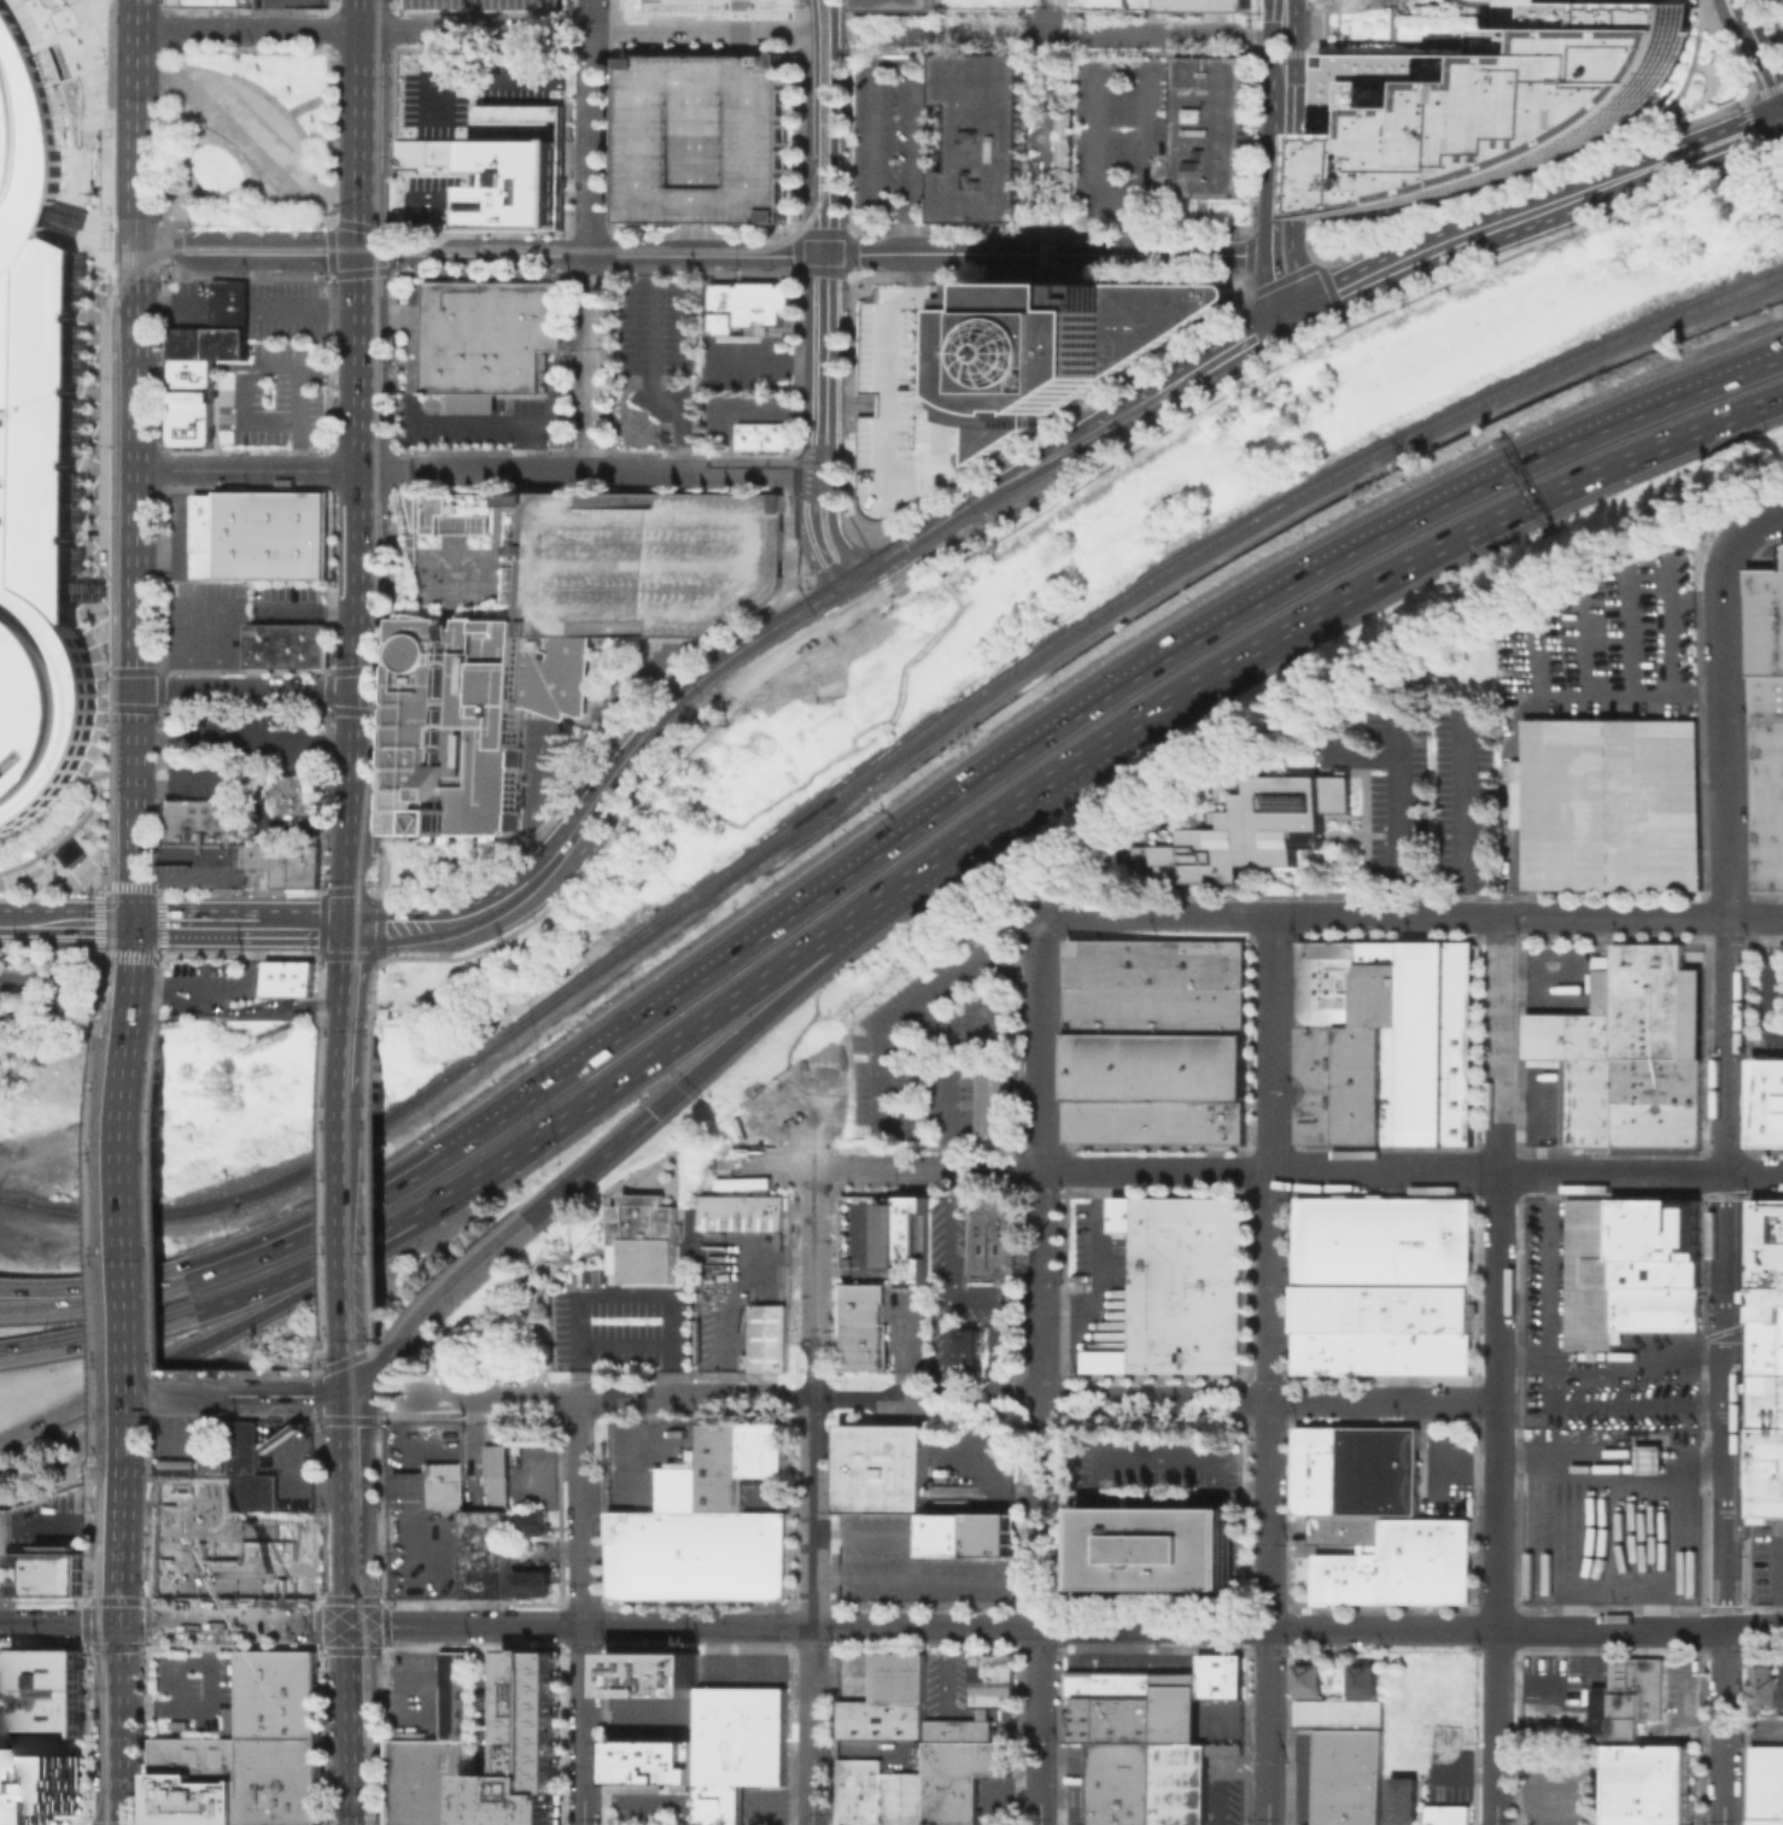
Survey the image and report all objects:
building: (214, 2)
parking lot: (291, 2)
parking lot: (479, 2)
building: (1106, 4)
building: (1351, 4)
building: (1474, 4)
road: (393, 6)
building: (895, 6)
park: (1051, 6)
building: (1209, 7)
building: (708, 8)
road: (88, 12)
building: (1515, 12)
road: (269, 14)
road: (828, 16)
road: (23, 19)
road: (393, 22)
road: (164, 28)
road: (363, 30)
road: (709, 31)
road: (1056, 33)
road: (331, 40)
road: (353, 49)
road: (1761, 49)
road: (884, 64)
road: (1098, 65)
road: (168, 87)
parking lot: (472, 88)
road: (1284, 94)
road: (328, 100)
building: (1487, 103)
road: (136, 127)
road: (1047, 127)
building: (1210, 133)
park: (245, 134)
parking lot: (1121, 134)
road: (164, 135)
road: (331, 136)
building: (703, 136)
parking lot: (703, 136)
building: (1062, 138)
parking lot: (895, 140)
building: (981, 140)
road: (246, 141)
fountain: (1036, 141)
road: (829, 144)
building: (505, 163)
road: (328, 197)
parking lot: (433, 197)
road: (1280, 197)
road: (1543, 210)
road: (166, 220)
building: (77, 221)
road: (150, 222)
road: (340, 223)
road: (356, 226)
road: (1146, 226)
road: (1275, 230)
road: (910, 233)
road: (590, 234)
road: (362, 235)
railway: (435, 235)
road: (164, 238)
road: (329, 238)
railway: (201, 248)
road: (1297, 250)
traffic signals: (136, 253)
traffic signals: (362, 255)
road: (481, 255)
road: (1051, 255)
road: (1285, 287)
road: (310, 306)
building: (750, 308)
parking lot: (288, 314)
traffic signals: (1308, 314)
building: (1069, 341)
building: (491, 343)
road: (1251, 343)
parking lot: (656, 361)
road: (766, 361)
road: (153, 362)
road: (192, 362)
building: (205, 362)
road: (244, 362)
parking lot: (746, 362)
road: (653, 369)
road: (329, 372)
road: (1691, 385)
building: (911, 393)
parking lot: (911, 393)
road: (240, 396)
parking lot: (274, 397)
road: (1765, 399)
road: (850, 403)
road: (743, 409)
parking lot: (738, 410)
parking lot: (489, 420)
road: (823, 426)
building: (762, 435)
building: (36, 461)
road: (249, 469)
road: (591, 470)
road: (888, 470)
road: (393, 480)
road: (499, 481)
road: (1025, 482)
road: (111, 489)
road: (397, 491)
building: (429, 511)
railway: (374, 514)
road: (490, 515)
road: (1756, 528)
road: (1460, 534)
building: (261, 539)
road: (1348, 545)
building: (650, 561)
parking lot: (650, 561)
road: (391, 573)
road: (95, 579)
road: (201, 599)
parking lot: (283, 602)
road: (308, 607)
road: (802, 626)
railway: (382, 640)
road: (135, 643)
road: (361, 645)
parking lot: (1615, 645)
building: (286, 650)
railway: (99, 663)
road: (375, 668)
road: (118, 671)
traffic signals: (135, 690)
road: (247, 690)
traffic signals: (361, 690)
road: (642, 697)
road: (703, 703)
road: (1519, 709)
building: (478, 716)
building: (1767, 729)
road: (1729, 730)
parking lot: (257, 735)
road: (247, 739)
railway: (883, 756)
road: (390, 759)
parking lot: (198, 776)
road: (179, 778)
road: (887, 778)
parking lot: (1421, 785)
building: (303, 796)
road: (555, 799)
building: (1613, 802)
road: (1395, 809)
road: (275, 814)
road: (1466, 814)
building: (1247, 830)
building: (205, 844)
building: (292, 861)
building: (84, 865)
road: (356, 872)
road: (831, 878)
road: (911, 891)
road: (496, 912)
road: (1158, 916)
road: (1501, 917)
road: (1755, 917)
road: (771, 920)
road: (66, 923)
traffic signals: (133, 923)
road: (197, 923)
traffic signals: (355, 924)
road: (818, 936)
building: (297, 976)
road: (353, 976)
road: (229, 988)
parking lot: (232, 992)
parking lot: (40, 996)
road: (65, 999)
parking lot: (1767, 1001)
road: (299, 1004)
building: (1154, 1040)
road: (1042, 1042)
building: (1384, 1042)
road: (1728, 1045)
parking lot: (933, 1048)
building: (1631, 1052)
road: (352, 1058)
building: (992, 1101)
building: (1766, 1101)
traffic signals: (650, 1111)
road: (0, 1157)
road: (589, 1164)
road: (1044, 1169)
road: (1385, 1170)
road: (1641, 1171)
railway: (361, 1183)
railway: (12, 1200)
building: (742, 1211)
road: (351, 1212)
road: (315, 1222)
building: (1654, 1229)
building: (990, 1233)
road: (131, 1236)
parking lot: (867, 1236)
building: (902, 1236)
building: (648, 1241)
railway: (107, 1242)
parking lot: (1095, 1242)
road: (326, 1257)
road: (1097, 1260)
road: (1549, 1263)
road: (865, 1264)
road: (1270, 1273)
building: (1654, 1273)
road: (466, 1274)
building: (1586, 1274)
road: (726, 1282)
road: (949, 1285)
building: (1180, 1285)
building: (1382, 1285)
parking lot: (736, 1289)
parking lot: (960, 1289)
road: (118, 1292)
road: (27, 1298)
road: (629, 1302)
road: (27, 1306)
building: (1654, 1308)
road: (233, 1326)
parking lot: (627, 1326)
building: (860, 1326)
parking lot: (905, 1326)
road: (990, 1329)
road: (97, 1335)
building: (767, 1336)
building: (966, 1345)
railway: (359, 1347)
road: (900, 1349)
parking lot: (1594, 1350)
road: (1533, 1356)
building: (1767, 1356)
road: (1637, 1362)
road: (352, 1365)
road: (387, 1368)
road: (1498, 1370)
road: (1550, 1391)
traffic signals: (131, 1394)
road: (183, 1394)
road: (297, 1394)
traffic signals: (357, 1394)
road: (955, 1400)
road: (1726, 1402)
road: (1638, 1406)
road: (407, 1415)
road: (370, 1421)
building: (537, 1433)
parking lot: (296, 1458)
road: (1462, 1458)
building: (1647, 1458)
parking lot: (647, 1460)
parking lot: (1158, 1467)
building: (257, 1468)
building: (882, 1469)
building: (1315, 1469)
building: (1378, 1469)
parking lot: (1443, 1469)
parking lot: (972, 1470)
building: (502, 1474)
building: (437, 1484)
road: (357, 1493)
parking lot: (766, 1494)
road: (813, 1496)
road: (1041, 1496)
road: (585, 1513)
parking lot: (54, 1521)
building: (537, 1522)
building: (707, 1522)
building: (1346, 1528)
road: (123, 1532)
road: (881, 1536)
building: (970, 1536)
building: (229, 1543)
building: (1158, 1544)
building: (489, 1552)
parking lot: (537, 1554)
parking lot: (1765, 1560)
parking lot: (912, 1564)
building: (1401, 1564)
building: (36, 1570)
road: (926, 1578)
building: (533, 1583)
railway: (362, 1591)
road: (356, 1609)
road: (59, 1624)
traffic signals: (121, 1624)
road: (238, 1625)
traffic signals: (356, 1626)
road: (470, 1626)
road: (1183, 1628)
railway: (103, 1638)
parking lot: (741, 1668)
building: (653, 1673)
building: (1218, 1674)
parking lot: (855, 1675)
road: (422, 1677)
building: (990, 1678)
building: (1306, 1679)
building: (1362, 1681)
road: (356, 1683)
building: (1766, 1686)
building: (1782, 1686)
parking lot: (189, 1689)
road: (492, 1691)
parking lot: (959, 1692)
parking lot: (1550, 1692)
building: (49, 1694)
building: (280, 1694)
building: (455, 1695)
parking lot: (416, 1696)
building: (888, 1698)
building: (1624, 1698)
road: (204, 1706)
building: (1130, 1707)
parking lot: (486, 1712)
building: (1337, 1713)
parking lot: (653, 1716)
parking lot: (1217, 1719)
road: (121, 1724)
road: (584, 1725)
road: (1269, 1727)
building: (959, 1729)
road: (1725, 1729)
building: (737, 1747)
building: (522, 1748)
building: (1223, 1748)
parking lot: (885, 1753)
building: (195, 1754)
building: (653, 1760)
building: (959, 1777)
parking lot: (1305, 1777)
building: (1348, 1777)
building: (279, 1780)
road: (356, 1783)
building: (428, 1783)
parking lot: (1075, 1783)
building: (1118, 1783)
building: (1179, 1783)
building: (1648, 1783)
building: (1765, 1784)
parking lot: (1560, 1786)
building: (39, 1788)
parking lot: (1222, 1789)
building: (858, 1791)
road: (647, 1797)
building: (902, 1797)
parking lot: (995, 1798)
building: (193, 1800)
building: (1402, 1800)
parking lot: (764, 1804)
parking lot: (639, 1813)
building: (1448, 1815)

